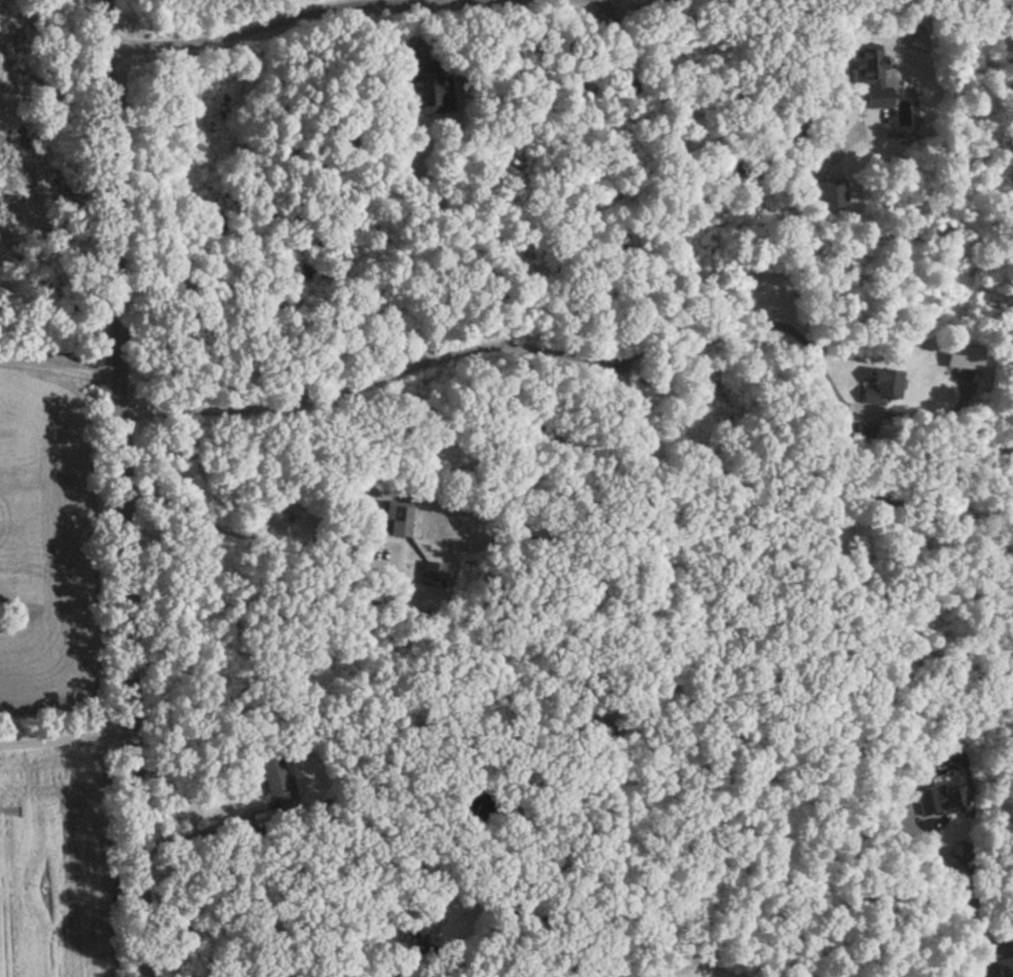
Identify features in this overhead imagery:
road: (421, 1)
road: (276, 24)
building: (869, 73)
road: (693, 160)
building: (830, 184)
road: (491, 345)
road: (55, 366)
building: (880, 386)
road: (114, 488)
building: (396, 514)
road: (254, 537)
building: (277, 777)
building: (937, 795)
road: (971, 888)
road: (258, 926)
building: (1005, 967)

